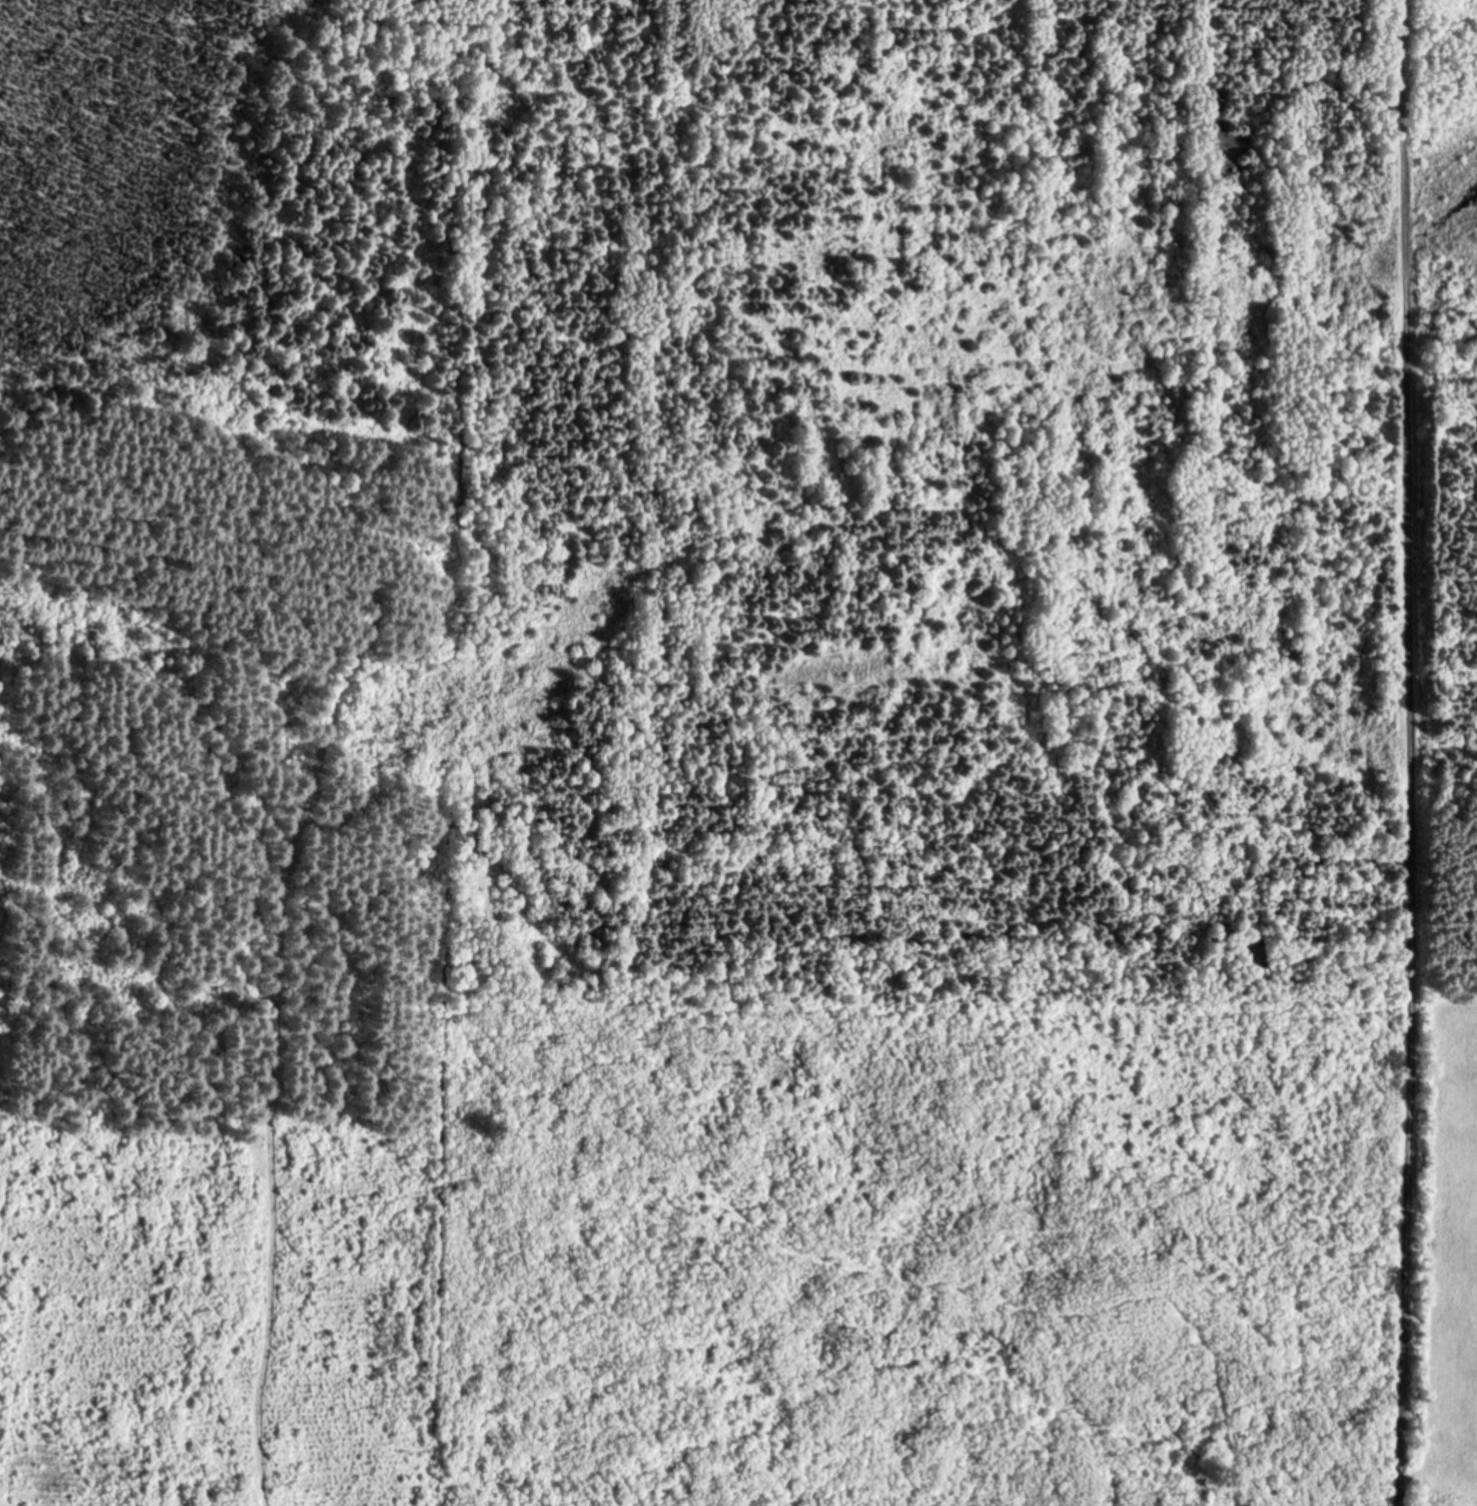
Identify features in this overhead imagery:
road: (1416, 753)

